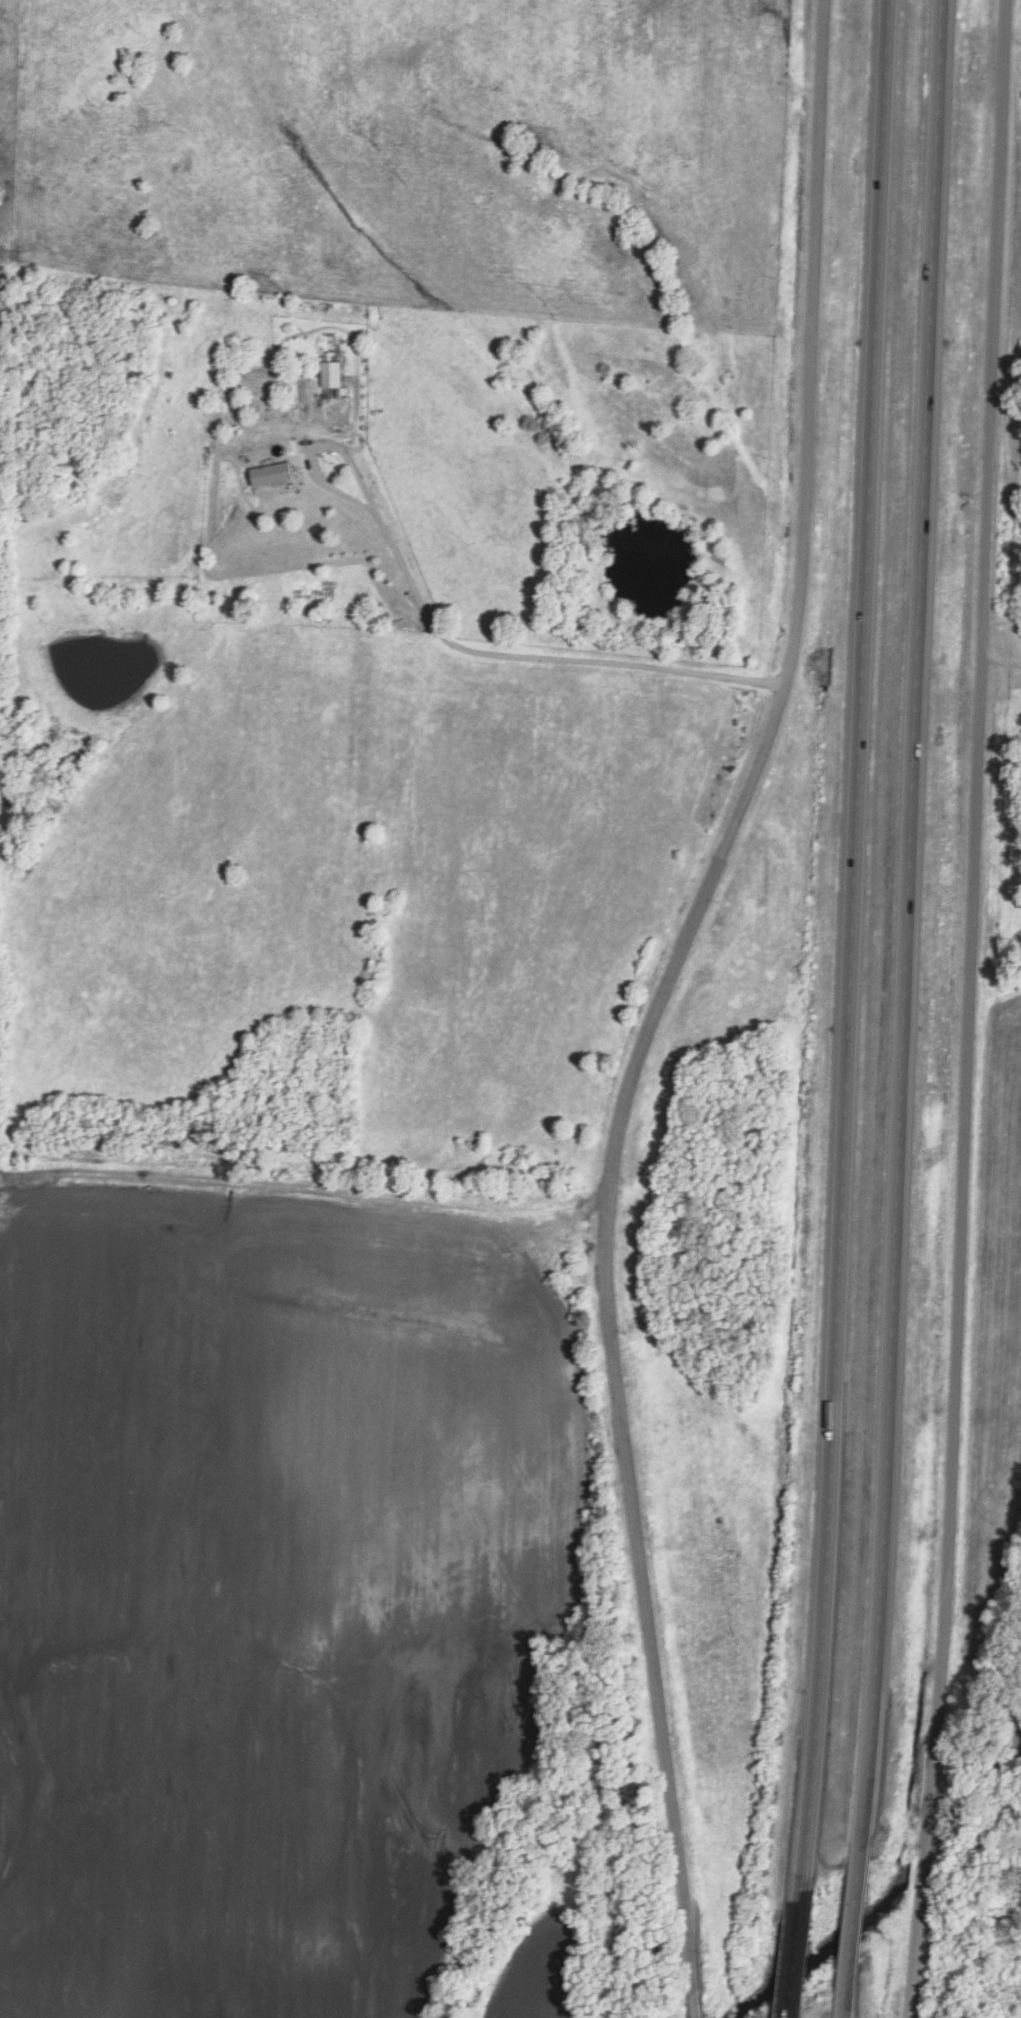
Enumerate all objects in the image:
building: (272, 476)
road: (309, 481)
road: (539, 658)
road: (906, 925)
road: (853, 952)
road: (661, 999)
road: (969, 1009)
road: (854, 1931)
road: (796, 1961)
road: (846, 2014)
road: (698, 2015)

